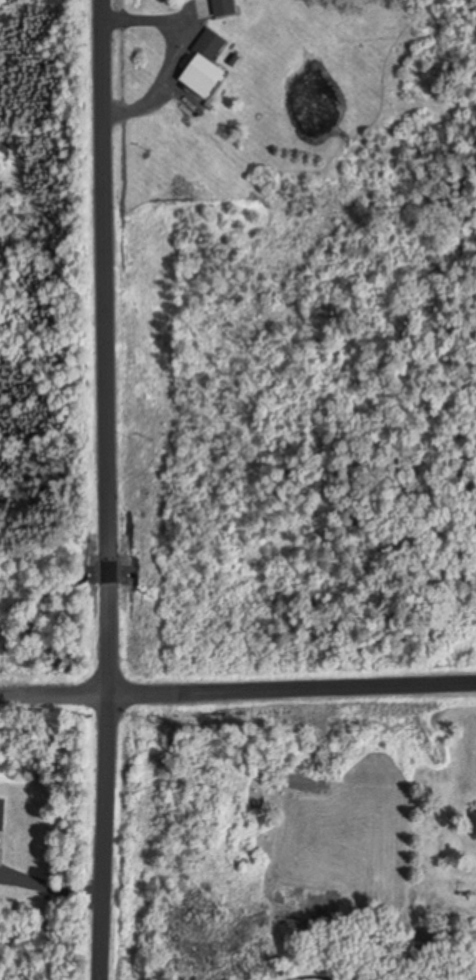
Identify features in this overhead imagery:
building: (225, 7)
building: (210, 45)
road: (108, 490)
road: (238, 689)
building: (3, 813)
building: (474, 823)

